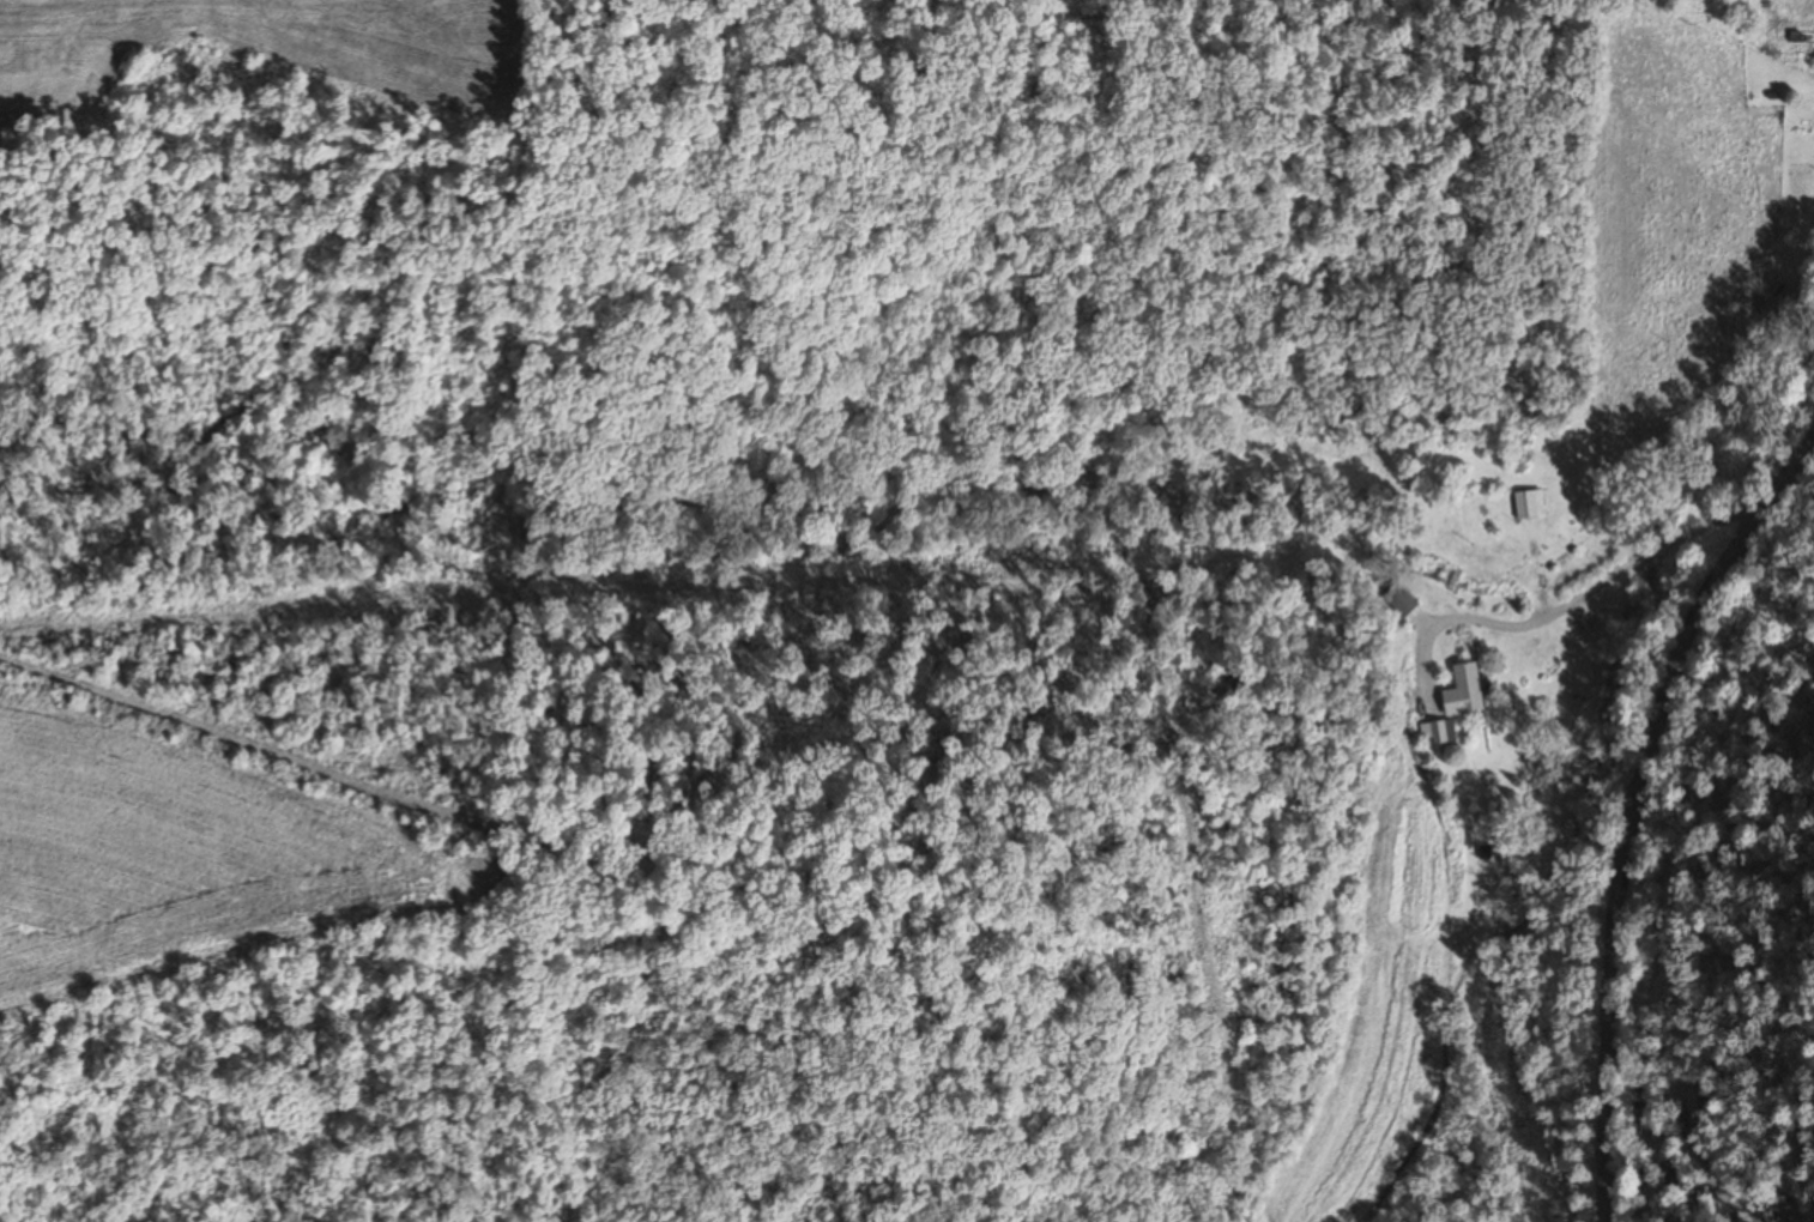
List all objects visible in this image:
building: (1782, 307)
building: (1528, 504)
building: (1398, 600)
building: (1461, 690)
building: (1441, 732)
road: (1647, 801)

